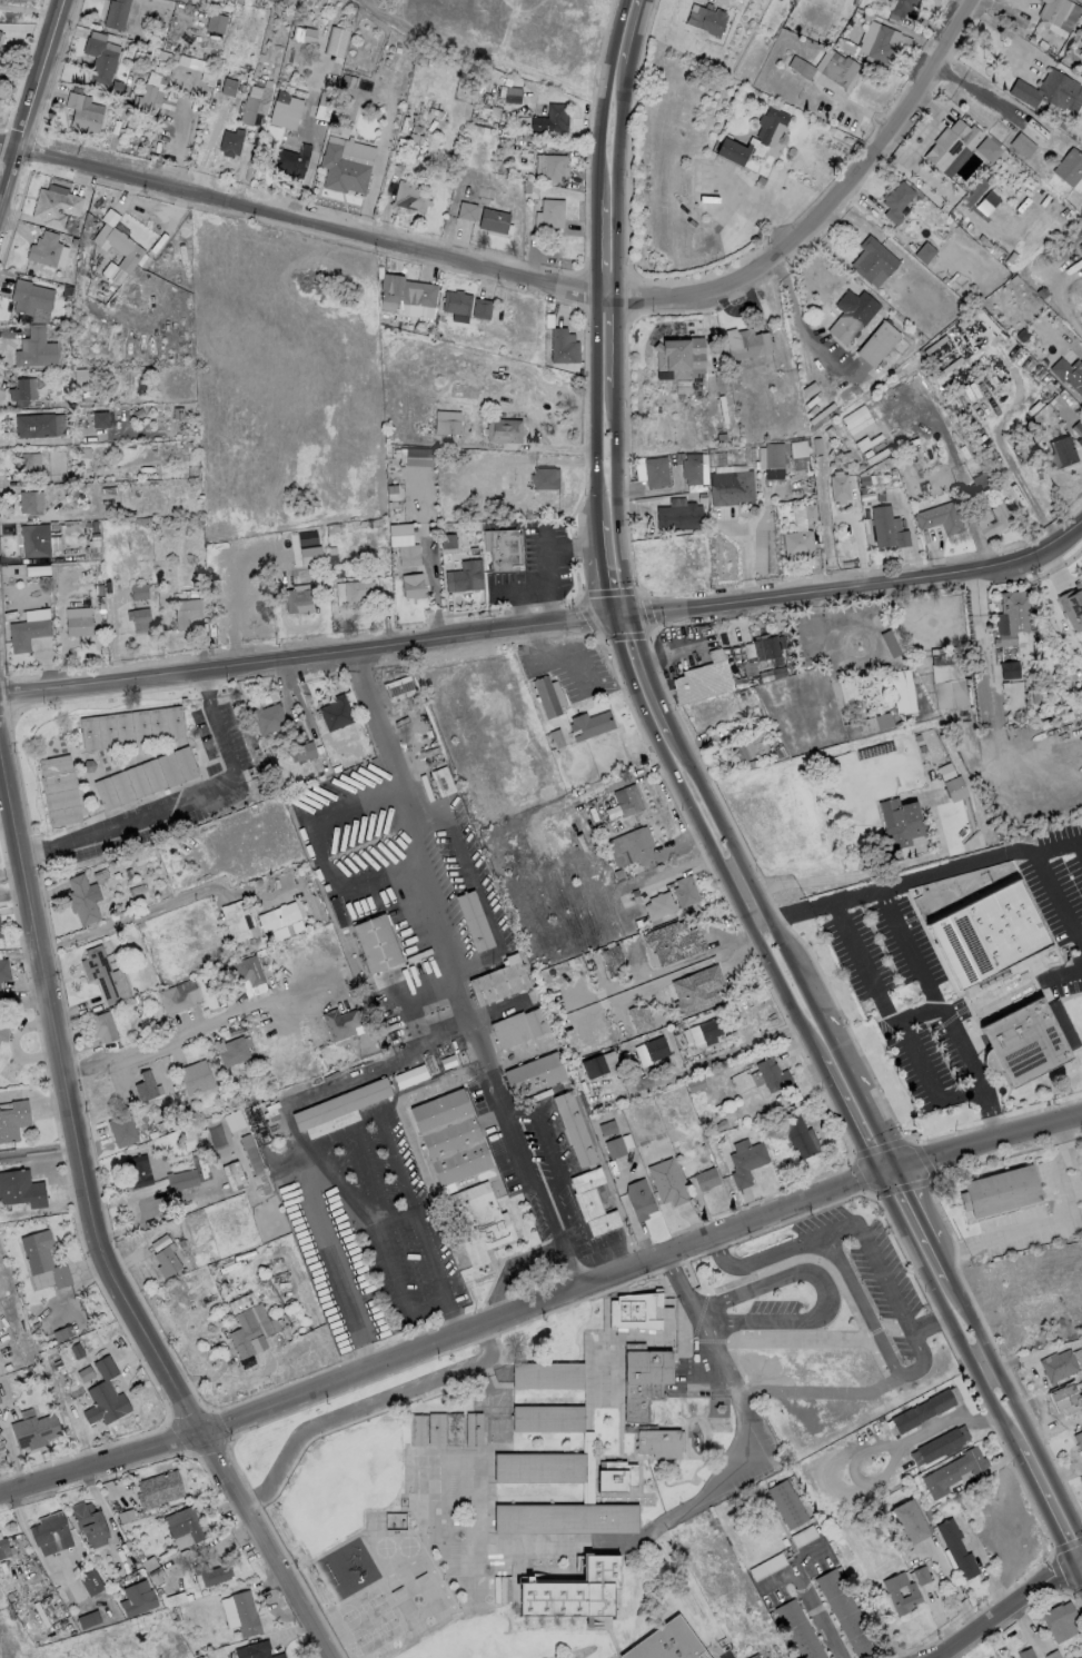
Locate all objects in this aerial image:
building: (901, 8)
road: (27, 9)
building: (1052, 10)
building: (115, 13)
building: (706, 18)
building: (215, 22)
building: (329, 32)
building: (335, 41)
building: (878, 43)
building: (1081, 43)
building: (1081, 48)
building: (99, 59)
building: (825, 66)
building: (1045, 89)
road: (975, 91)
building: (149, 93)
building: (512, 93)
road: (28, 99)
building: (254, 101)
building: (284, 109)
building: (83, 110)
building: (554, 117)
building: (767, 122)
building: (230, 141)
building: (951, 143)
building: (1021, 145)
road: (611, 146)
building: (731, 149)
building: (986, 149)
building: (289, 159)
building: (1068, 166)
building: (553, 167)
building: (340, 169)
building: (980, 193)
building: (409, 196)
building: (895, 200)
building: (54, 206)
building: (466, 210)
building: (548, 211)
building: (493, 219)
building: (698, 229)
building: (119, 242)
building: (43, 248)
building: (923, 251)
building: (872, 259)
road: (546, 279)
building: (406, 289)
building: (29, 296)
building: (456, 301)
building: (480, 308)
building: (848, 315)
building: (875, 341)
building: (745, 342)
building: (562, 345)
building: (34, 347)
building: (678, 355)
building: (1068, 375)
building: (82, 376)
building: (18, 388)
building: (99, 419)
building: (855, 419)
building: (446, 421)
building: (34, 425)
building: (503, 430)
building: (1076, 431)
road: (614, 450)
road: (595, 451)
building: (1060, 451)
building: (415, 455)
building: (773, 455)
building: (798, 455)
building: (28, 463)
building: (691, 468)
building: (655, 470)
building: (544, 477)
building: (981, 483)
building: (837, 485)
building: (729, 486)
building: (794, 487)
building: (30, 502)
building: (677, 514)
building: (939, 517)
building: (990, 519)
building: (886, 528)
building: (34, 539)
building: (447, 540)
building: (796, 542)
road: (555, 547)
building: (504, 548)
building: (407, 554)
building: (36, 569)
building: (464, 576)
building: (411, 585)
road: (533, 585)
building: (138, 590)
building: (353, 590)
building: (296, 598)
building: (1072, 599)
building: (185, 612)
traffic signals: (608, 612)
building: (1010, 616)
building: (138, 618)
road: (547, 620)
building: (78, 625)
building: (26, 632)
building: (766, 648)
road: (557, 657)
building: (1009, 669)
building: (703, 673)
building: (399, 687)
building: (902, 692)
building: (949, 693)
building: (546, 696)
building: (335, 712)
building: (267, 717)
road: (376, 719)
building: (878, 721)
building: (589, 724)
building: (131, 727)
building: (747, 745)
building: (301, 752)
building: (936, 762)
building: (146, 777)
building: (954, 788)
building: (59, 790)
building: (627, 798)
road: (180, 801)
building: (902, 827)
road: (1080, 840)
road: (1059, 844)
building: (636, 845)
building: (621, 858)
road: (957, 864)
building: (684, 890)
road: (860, 892)
road: (1058, 894)
building: (82, 897)
building: (658, 904)
road: (802, 907)
road: (132, 917)
road: (757, 917)
building: (238, 920)
building: (474, 920)
building: (279, 921)
building: (0, 932)
building: (986, 933)
building: (673, 941)
building: (375, 942)
building: (612, 960)
road: (682, 966)
building: (3, 970)
building: (248, 970)
road: (1071, 971)
building: (100, 972)
building: (497, 981)
building: (696, 989)
building: (178, 995)
road: (22, 997)
road: (945, 1010)
building: (639, 1017)
road: (897, 1020)
building: (339, 1023)
building: (101, 1025)
building: (517, 1026)
building: (708, 1027)
building: (2, 1030)
road: (156, 1038)
building: (1022, 1042)
road: (478, 1043)
building: (655, 1046)
building: (232, 1051)
building: (592, 1065)
building: (533, 1073)
building: (770, 1074)
building: (408, 1075)
road: (851, 1075)
building: (195, 1076)
building: (145, 1086)
building: (339, 1103)
road: (840, 1103)
building: (13, 1119)
building: (232, 1120)
building: (607, 1128)
building: (572, 1129)
building: (121, 1130)
building: (449, 1135)
building: (800, 1138)
building: (614, 1148)
road: (38, 1151)
traffic signals: (896, 1161)
building: (254, 1163)
building: (746, 1163)
building: (137, 1171)
traffic signals: (874, 1172)
building: (232, 1175)
building: (705, 1178)
building: (181, 1179)
building: (20, 1188)
building: (999, 1191)
building: (638, 1198)
road: (410, 1199)
building: (590, 1201)
road: (321, 1219)
road: (92, 1221)
building: (477, 1221)
road: (765, 1255)
building: (42, 1257)
building: (166, 1261)
road: (825, 1292)
road: (540, 1302)
building: (240, 1303)
road: (451, 1304)
road: (699, 1310)
building: (634, 1311)
road: (932, 1328)
building: (252, 1329)
road: (921, 1354)
road: (983, 1363)
building: (1058, 1364)
building: (604, 1366)
building: (549, 1377)
road: (729, 1378)
building: (644, 1384)
building: (105, 1394)
building: (1066, 1396)
building: (922, 1410)
building: (606, 1418)
building: (548, 1421)
building: (435, 1429)
building: (453, 1429)
building: (473, 1429)
building: (33, 1430)
building: (417, 1430)
building: (1079, 1440)
building: (941, 1442)
building: (658, 1446)
road: (892, 1457)
building: (540, 1470)
building: (952, 1471)
building: (615, 1478)
building: (158, 1490)
building: (786, 1503)
building: (397, 1519)
building: (539, 1520)
building: (907, 1520)
building: (616, 1521)
building: (88, 1523)
building: (185, 1525)
building: (50, 1536)
building: (955, 1548)
building: (4, 1549)
road: (983, 1559)
traffic signals: (1070, 1565)
road: (793, 1566)
building: (152, 1570)
building: (210, 1572)
building: (920, 1575)
building: (90, 1581)
building: (900, 1592)
building: (570, 1595)
building: (136, 1598)
road: (1004, 1606)
road: (817, 1611)
building: (244, 1612)
building: (844, 1612)
building: (88, 1618)
building: (1059, 1620)
building: (797, 1630)
building: (667, 1644)
building: (255, 1650)
building: (1025, 1654)
building: (753, 1656)

